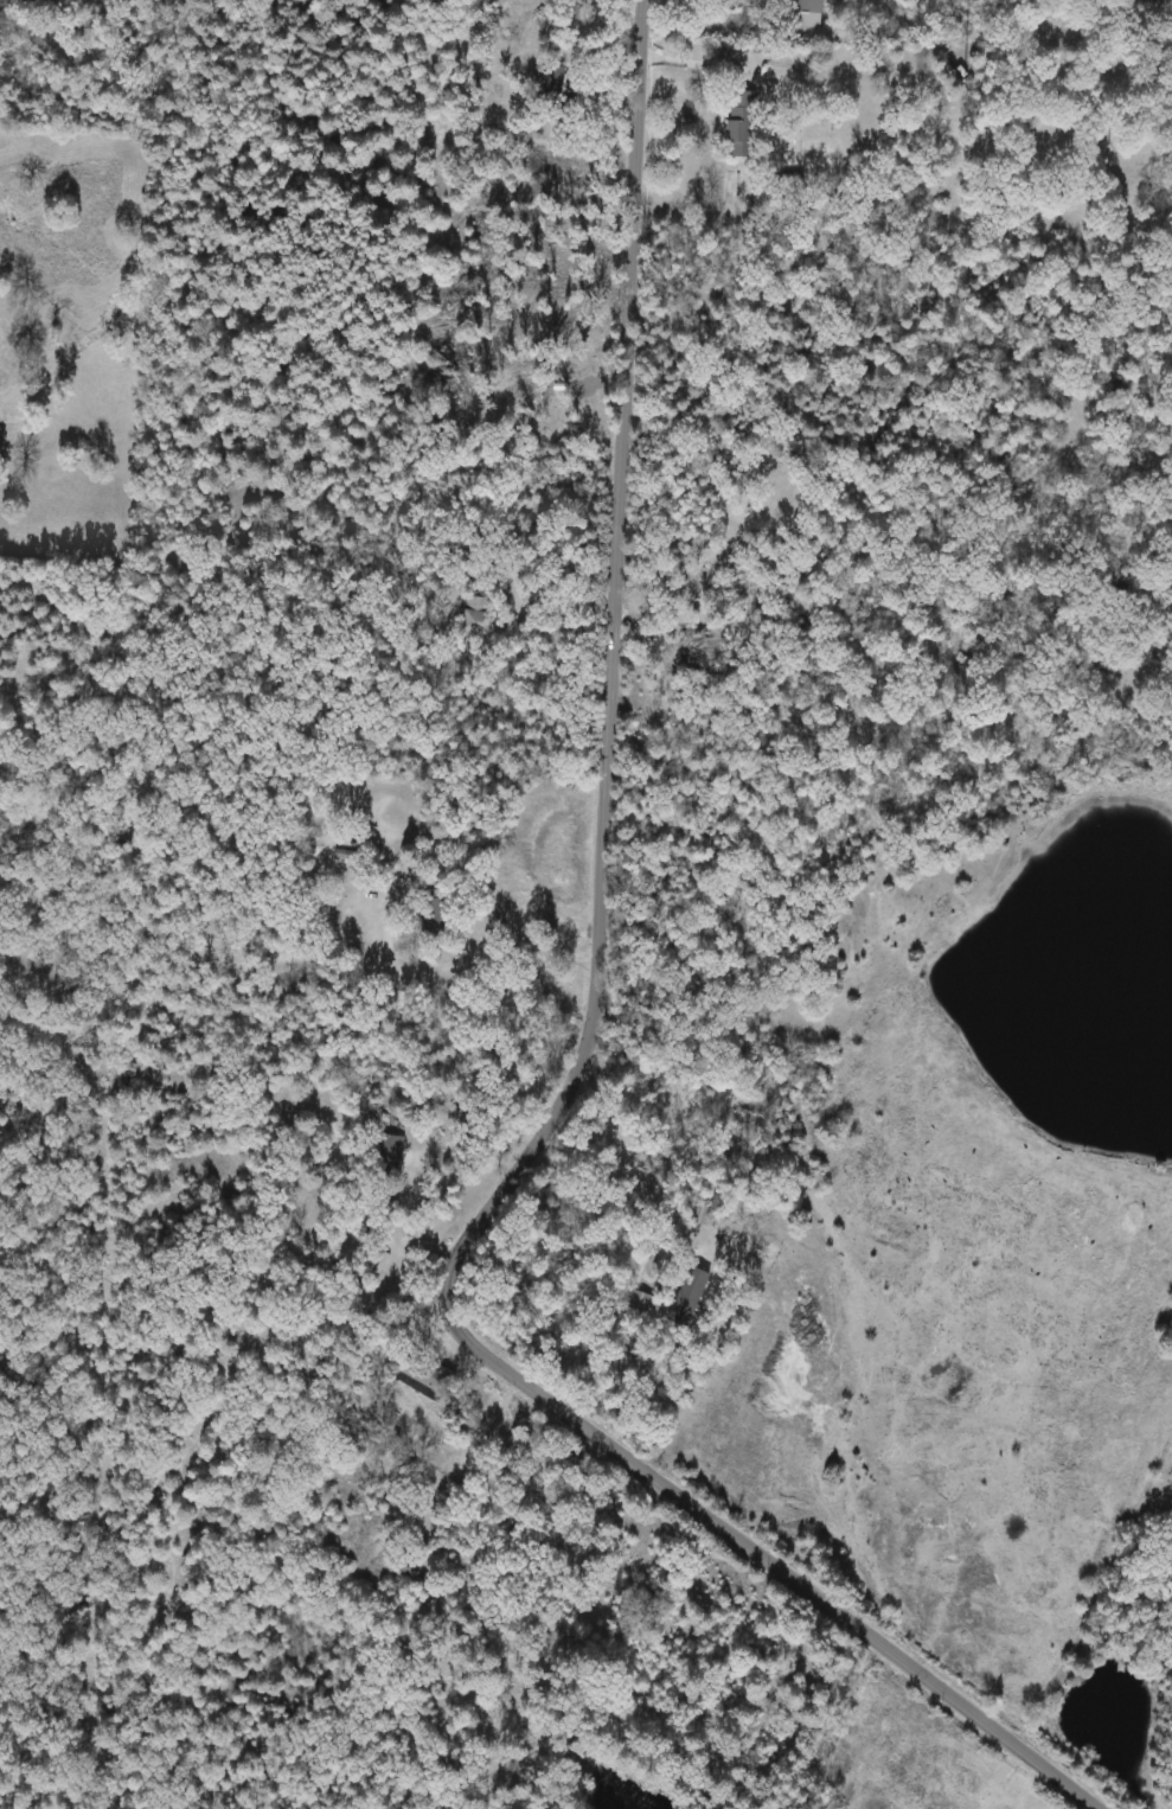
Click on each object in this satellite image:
building: (44, 1)
building: (806, 14)
road: (702, 63)
building: (549, 88)
building: (742, 126)
building: (476, 613)
road: (598, 902)
building: (431, 916)
road: (501, 918)
road: (630, 1152)
building: (390, 1156)
building: (424, 1372)
road: (947, 1699)

